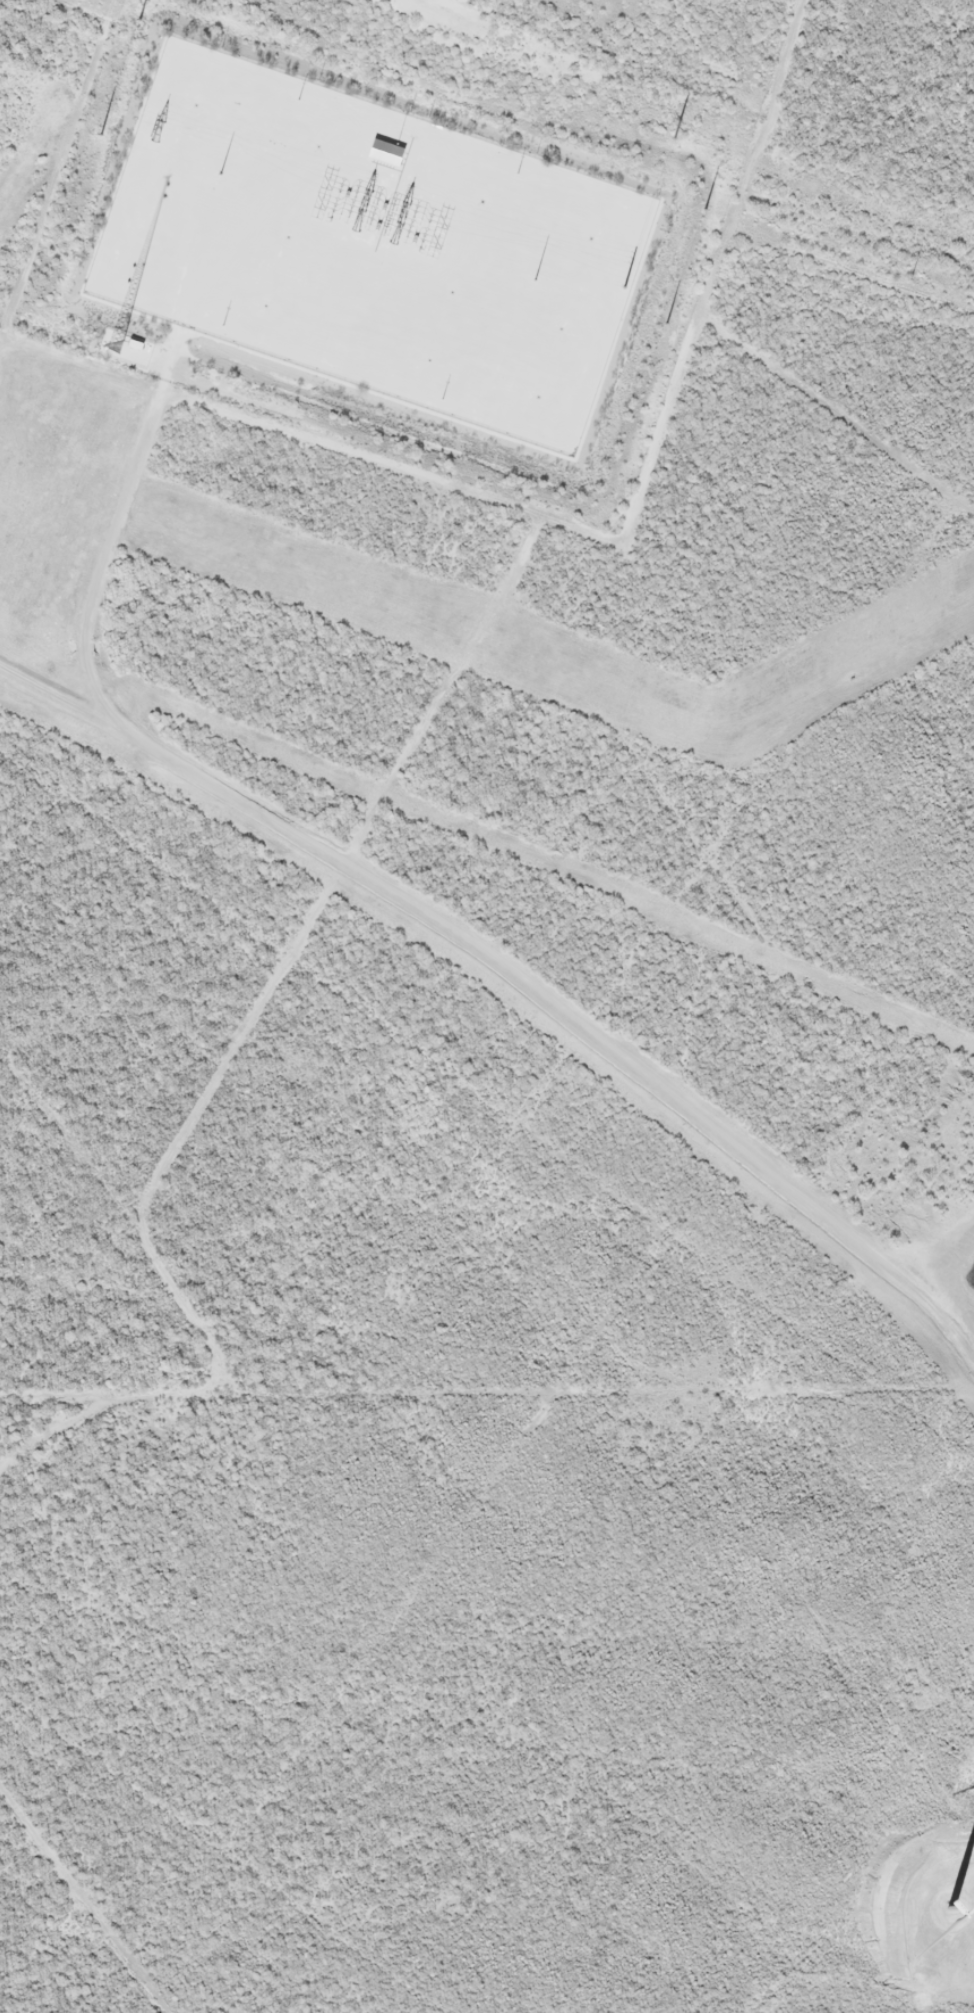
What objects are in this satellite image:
power tower: (139, 20)
road: (689, 94)
power tower: (102, 135)
power tower: (677, 138)
building: (383, 152)
power tower: (217, 174)
power tower: (703, 211)
power substation: (369, 246)
power tower: (533, 281)
power tower: (910, 281)
power tower: (625, 288)
power tower: (665, 326)
building: (204, 370)
wind turbine: (953, 1909)

